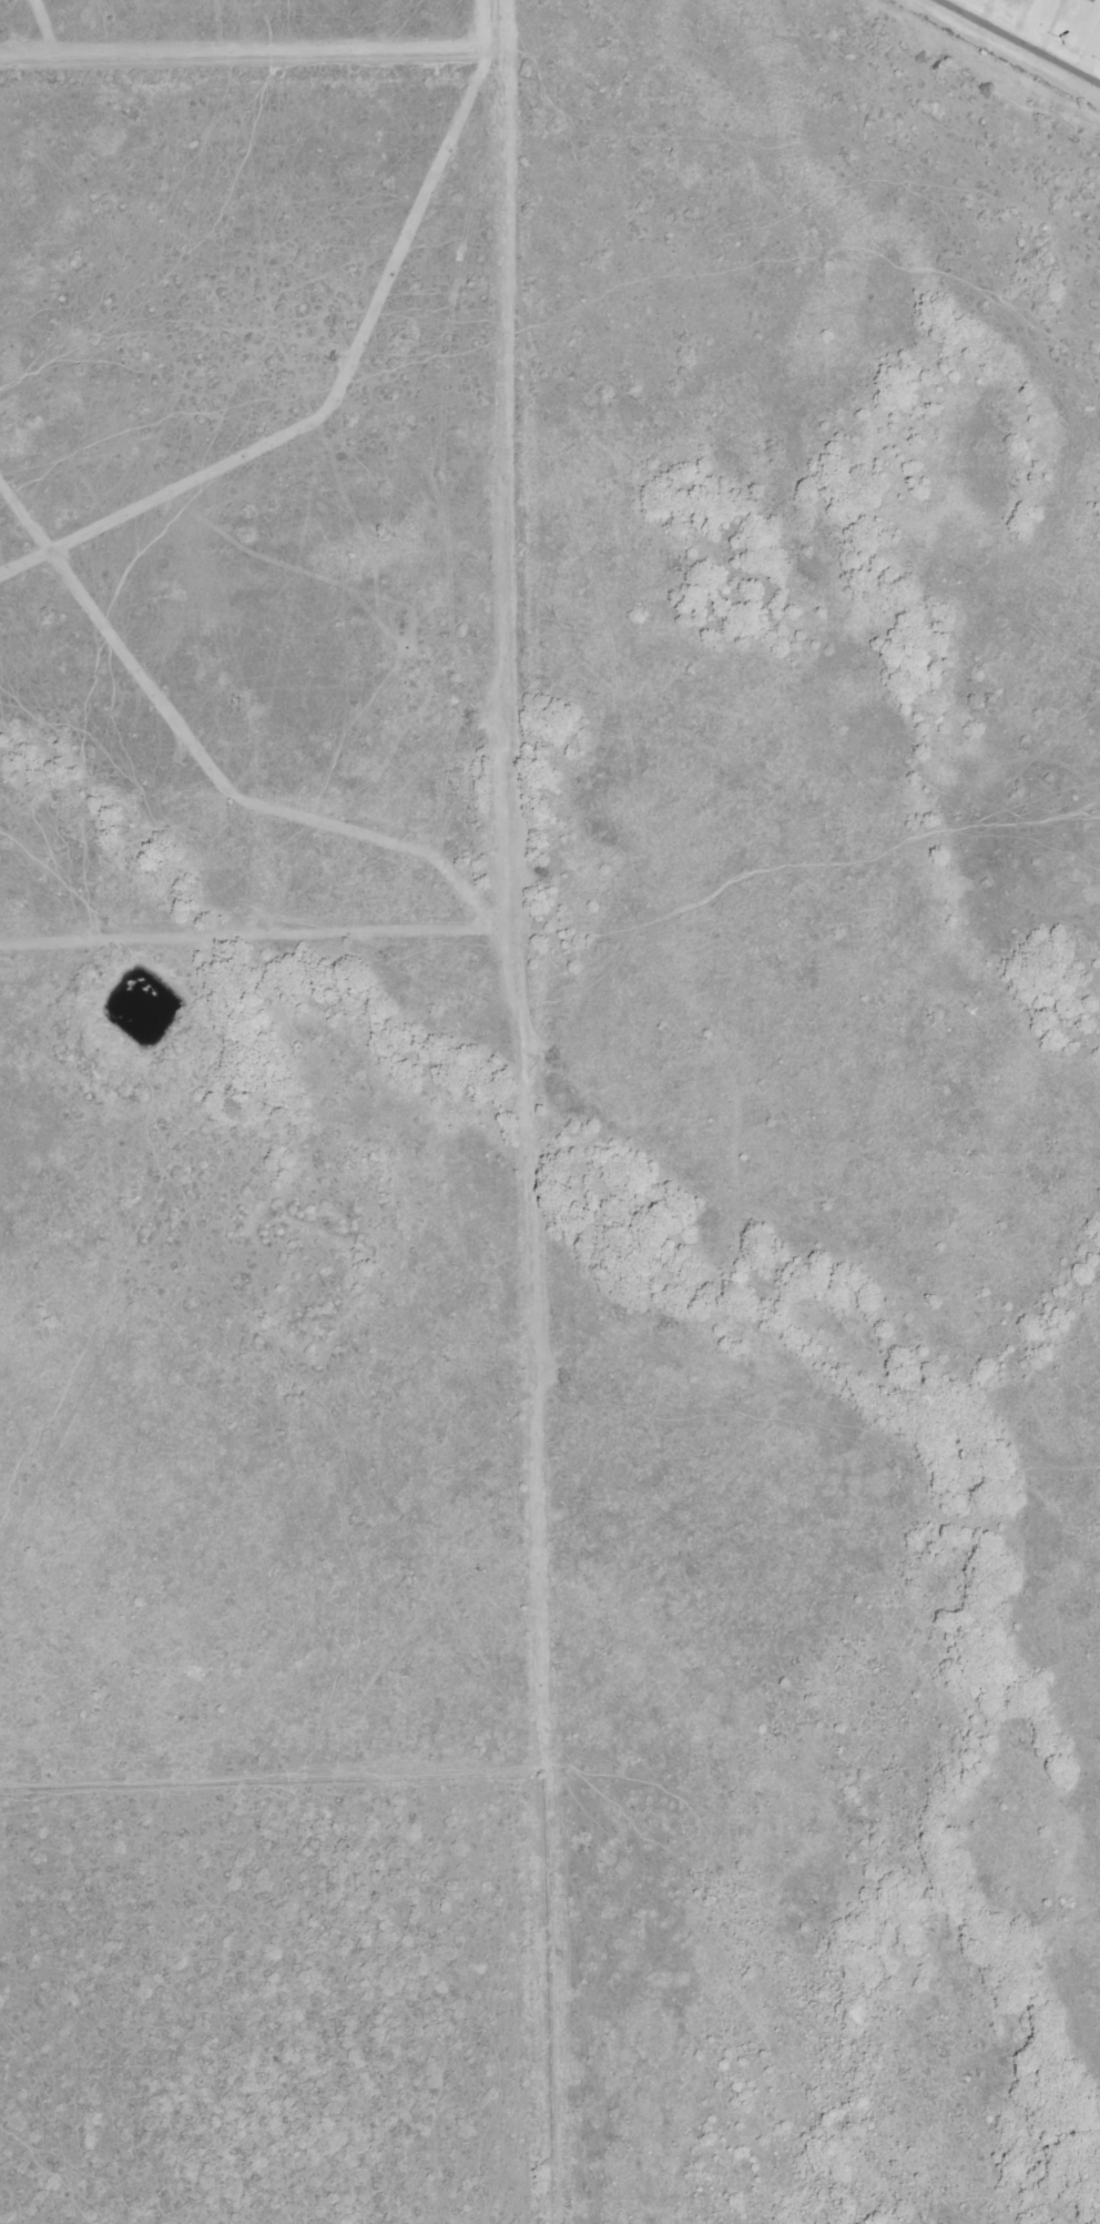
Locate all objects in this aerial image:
road: (1023, 39)

